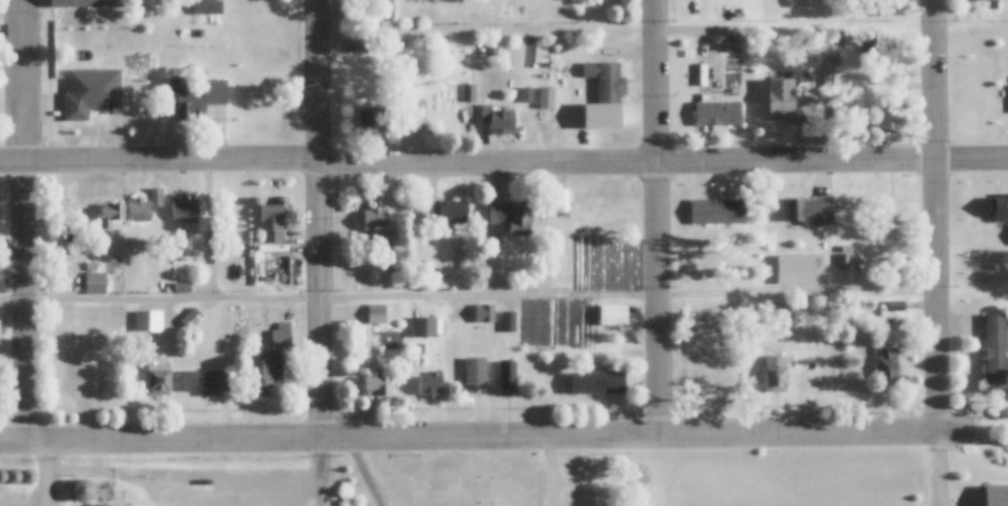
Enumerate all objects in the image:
building: (86, 3)
building: (352, 16)
building: (84, 33)
building: (199, 33)
building: (358, 45)
building: (816, 45)
building: (490, 50)
building: (563, 70)
building: (75, 75)
building: (606, 82)
building: (214, 92)
building: (468, 93)
building: (526, 95)
building: (888, 95)
building: (546, 98)
building: (788, 102)
building: (185, 105)
building: (412, 114)
building: (718, 114)
building: (456, 119)
building: (374, 120)
building: (497, 120)
building: (889, 121)
building: (530, 123)
road: (503, 164)
building: (561, 196)
building: (156, 198)
building: (1002, 205)
building: (807, 210)
building: (139, 211)
building: (184, 211)
building: (447, 212)
road: (940, 215)
building: (112, 217)
road: (660, 217)
building: (510, 218)
road: (316, 219)
building: (885, 221)
road: (21, 222)
building: (271, 223)
building: (380, 234)
building: (274, 252)
building: (843, 262)
building: (91, 266)
building: (61, 276)
building: (95, 283)
building: (181, 289)
building: (169, 290)
road: (470, 298)
building: (896, 306)
building: (696, 307)
building: (778, 307)
building: (433, 309)
building: (81, 311)
building: (376, 313)
building: (484, 313)
building: (149, 314)
building: (613, 315)
building: (191, 319)
building: (508, 322)
building: (61, 326)
building: (424, 327)
building: (280, 336)
building: (995, 350)
building: (886, 364)
building: (475, 373)
building: (702, 373)
building: (775, 373)
building: (265, 375)
building: (507, 378)
building: (83, 380)
building: (206, 382)
building: (159, 383)
building: (430, 383)
building: (596, 383)
building: (377, 384)
road: (484, 437)
building: (590, 468)
road: (548, 471)
road: (363, 473)
road: (53, 474)
building: (1, 476)
silo: (1, 476)
building: (12, 476)
silo: (12, 476)
building: (27, 477)
silo: (27, 477)
building: (598, 483)
building: (82, 490)
silo: (82, 490)
building: (997, 496)
building: (103, 505)
silo: (103, 505)

